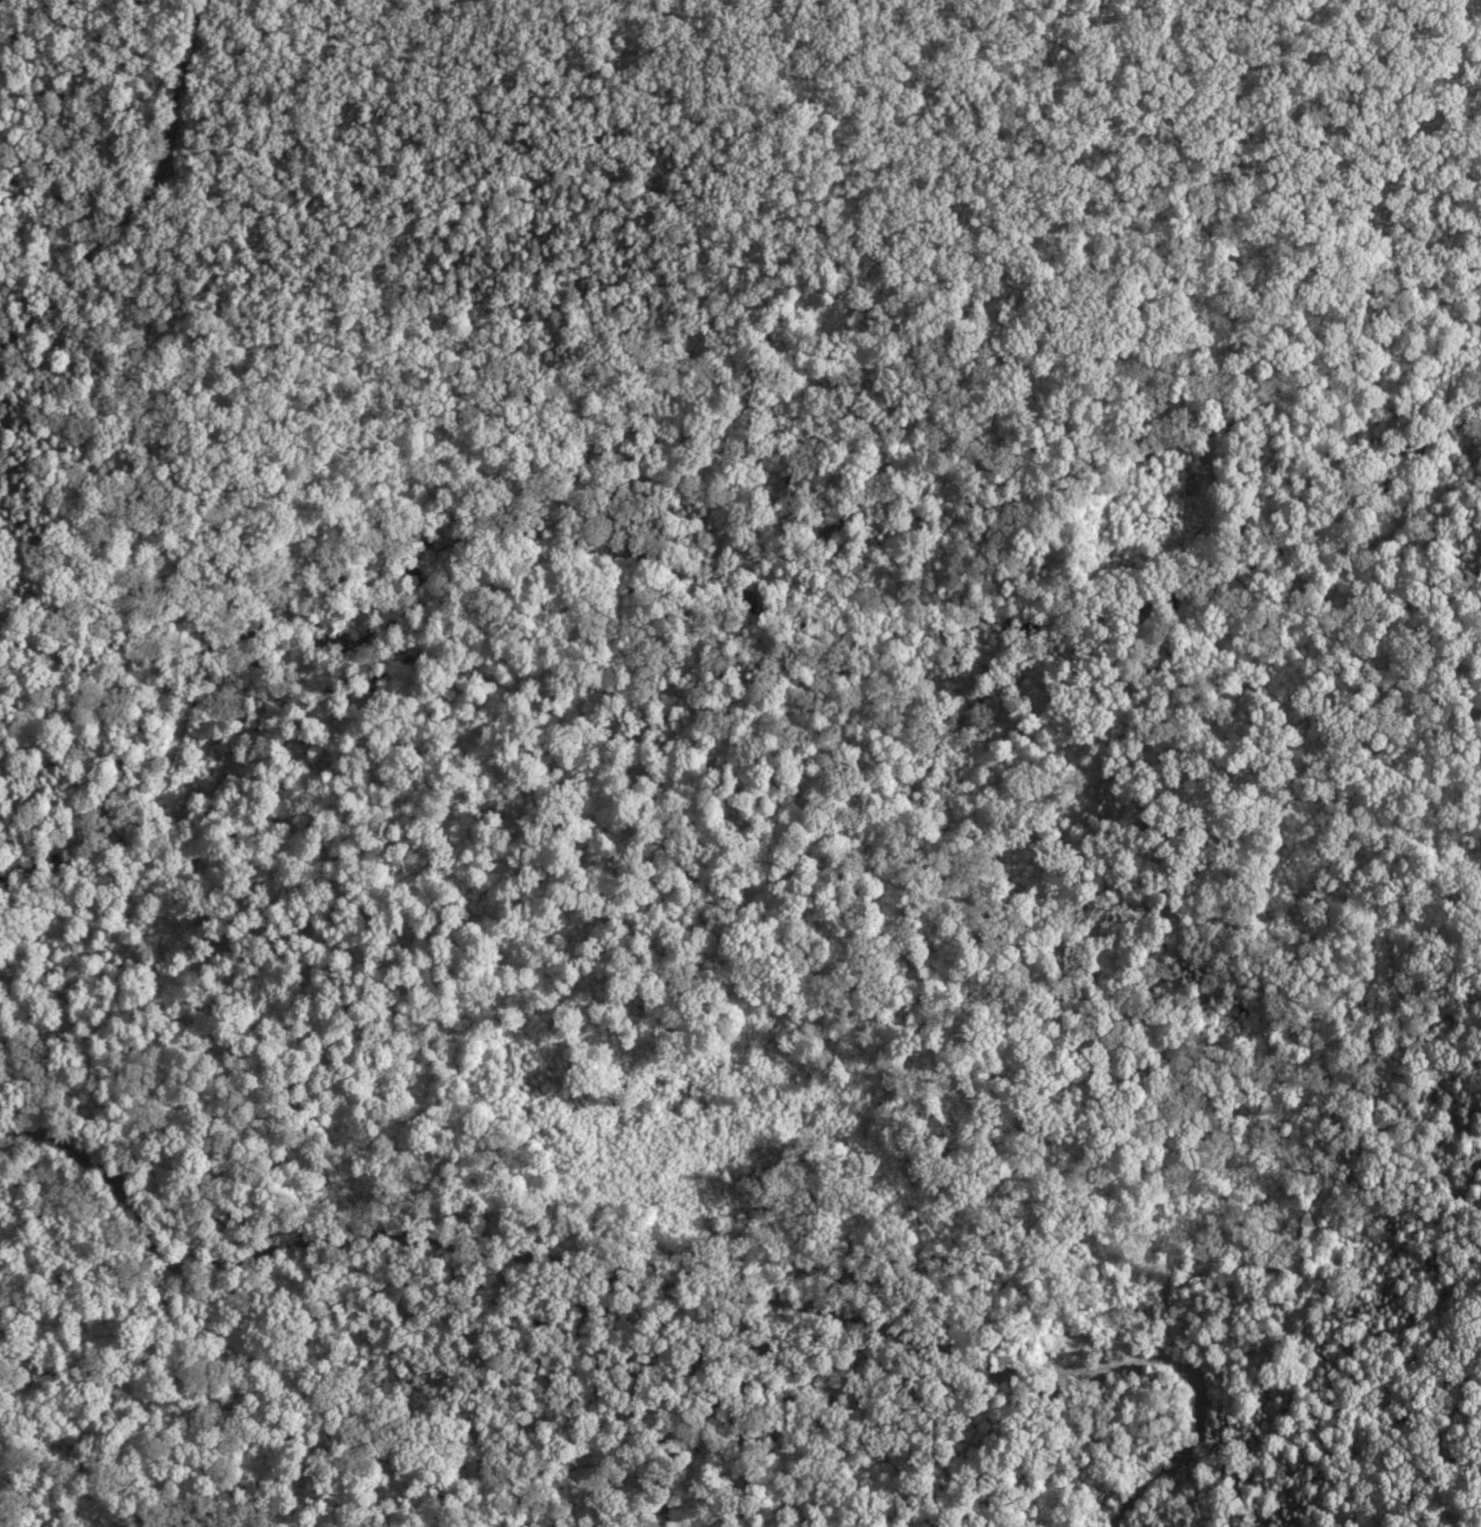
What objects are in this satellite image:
park: (67, 99)
road: (111, 169)
road: (770, 257)

